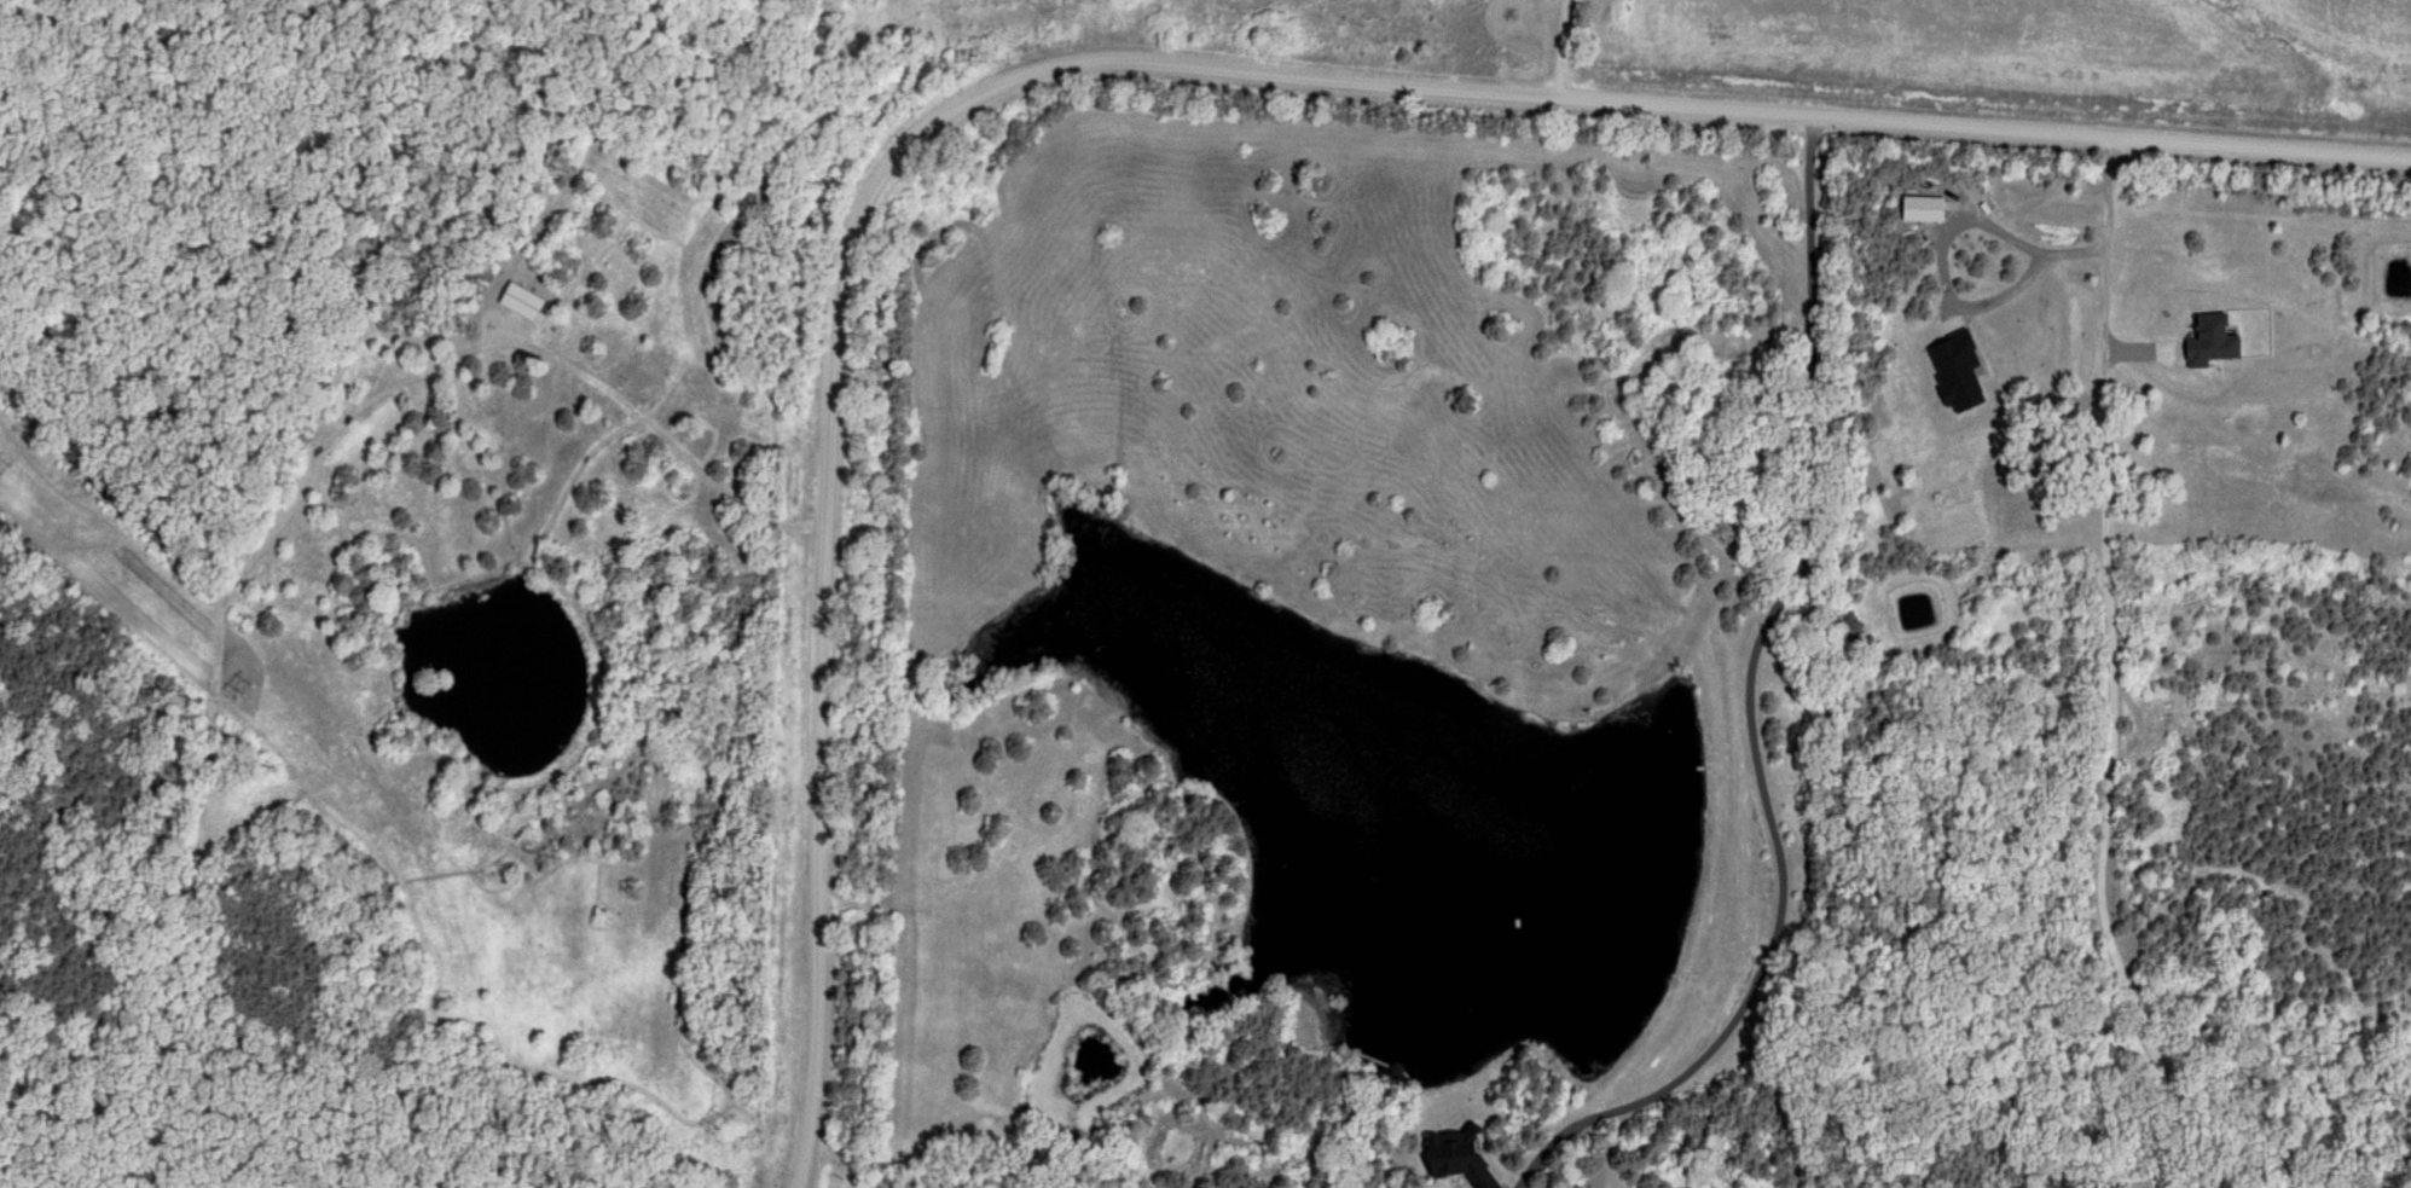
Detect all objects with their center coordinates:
road: (1558, 48)
road: (1113, 62)
road: (2030, 248)
building: (523, 302)
road: (676, 446)
power tower: (5, 470)
power tower: (250, 689)
road: (2109, 700)
road: (1744, 708)
power tower: (720, 1126)
road: (2260, 1180)

